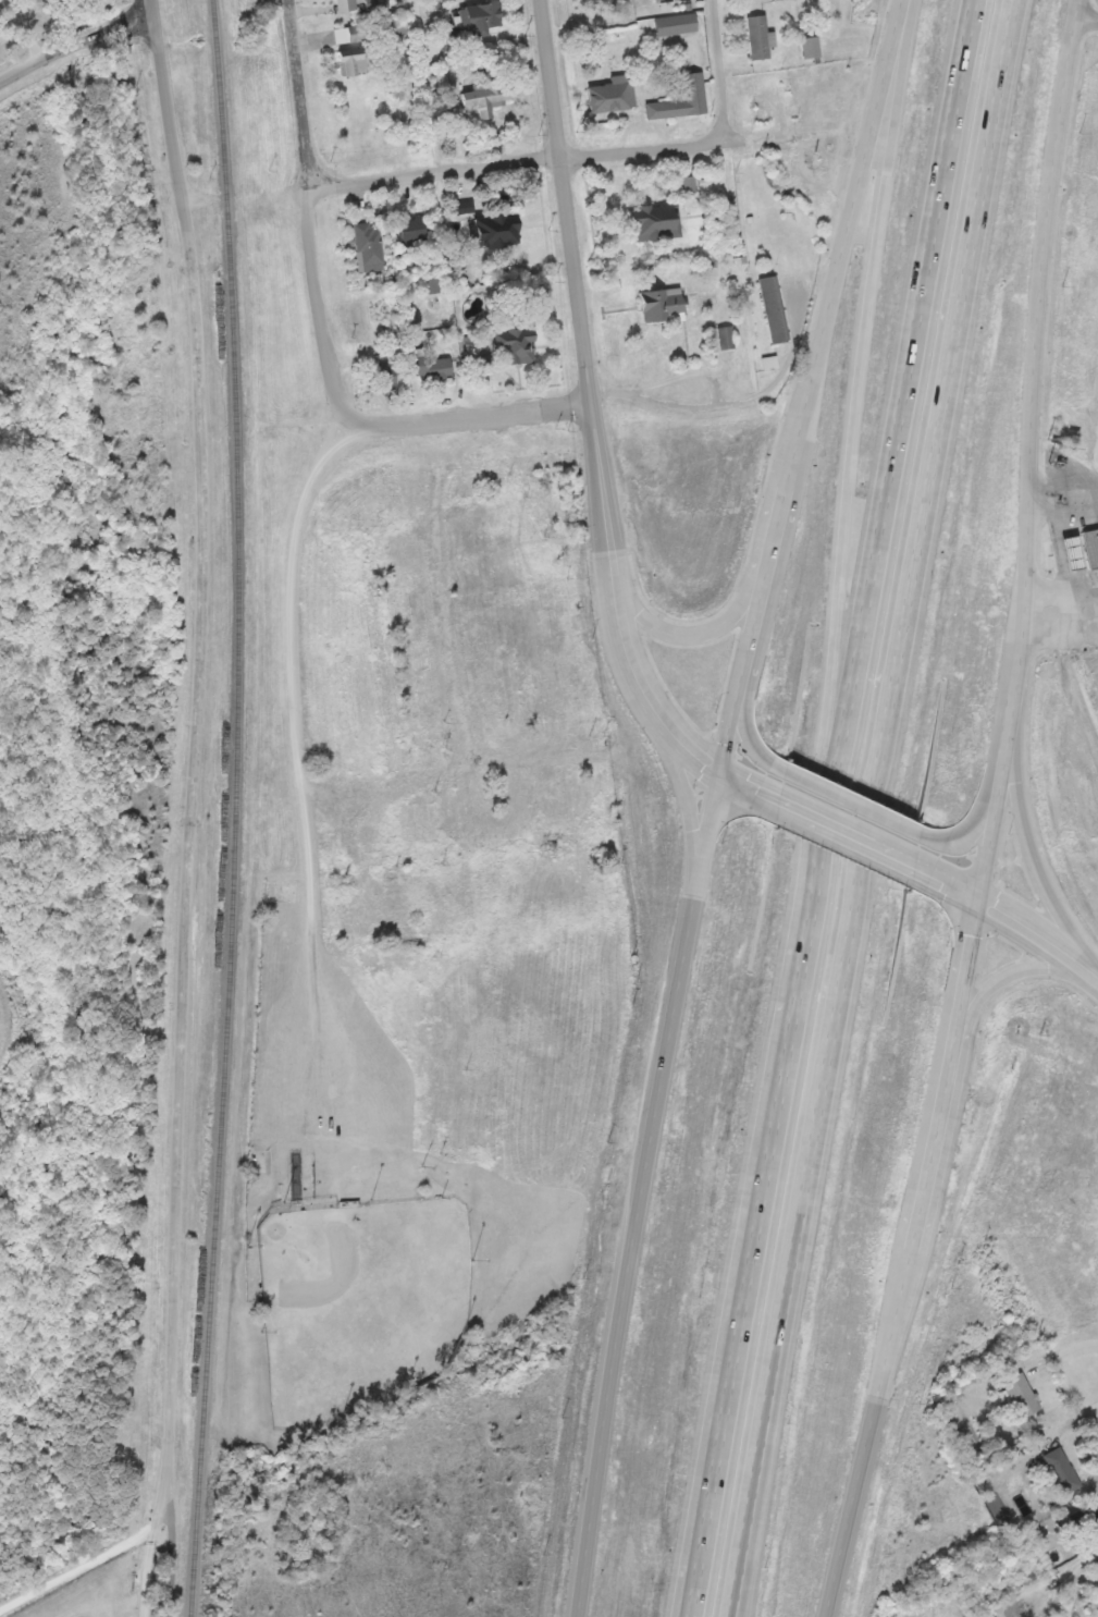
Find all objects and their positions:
building: (658, 0)
building: (900, 0)
building: (345, 5)
road: (1086, 16)
building: (473, 23)
building: (675, 23)
building: (393, 28)
building: (357, 33)
building: (756, 36)
building: (810, 47)
road: (77, 50)
building: (355, 61)
road: (718, 69)
building: (488, 91)
building: (610, 94)
road: (298, 96)
building: (681, 99)
building: (764, 107)
road: (171, 120)
road: (517, 159)
building: (851, 159)
building: (651, 221)
building: (414, 229)
building: (494, 230)
building: (368, 246)
road: (318, 284)
building: (661, 305)
building: (774, 308)
building: (514, 344)
building: (483, 364)
building: (430, 366)
building: (382, 377)
road: (809, 383)
road: (592, 403)
road: (449, 420)
road: (1028, 445)
building: (527, 463)
road: (843, 538)
building: (1078, 550)
building: (494, 593)
building: (416, 618)
road: (686, 633)
building: (494, 709)
road: (744, 719)
building: (432, 734)
road: (300, 770)
road: (751, 782)
road: (686, 801)
road: (860, 805)
railway: (238, 808)
road: (830, 808)
road: (871, 808)
road: (976, 816)
building: (419, 823)
road: (847, 828)
road: (1029, 852)
building: (281, 891)
road: (1010, 911)
road: (184, 928)
road: (971, 954)
road: (1021, 968)
building: (258, 1160)
road: (639, 1190)
building: (934, 1255)
park: (359, 1303)
road: (892, 1316)
building: (1020, 1396)
building: (1059, 1470)
building: (1080, 1516)
road: (695, 1548)
road: (103, 1558)

